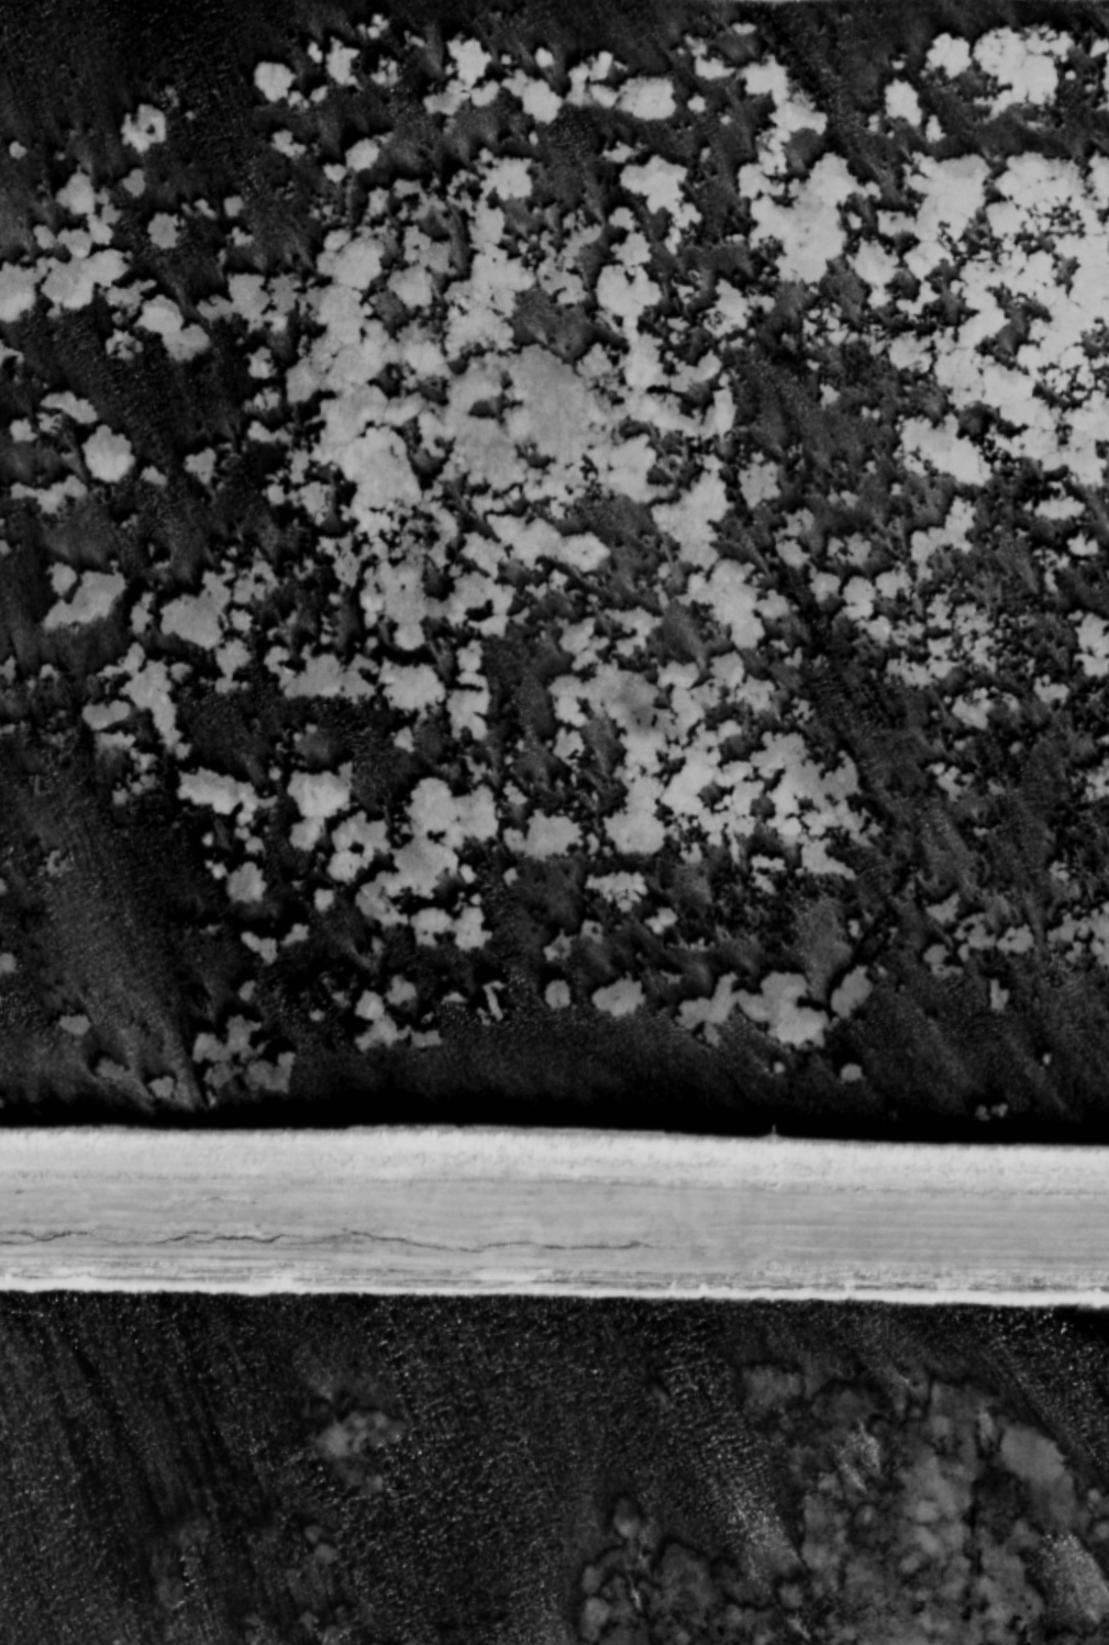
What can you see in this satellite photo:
wastewater plant: (554, 822)
road: (554, 1256)

